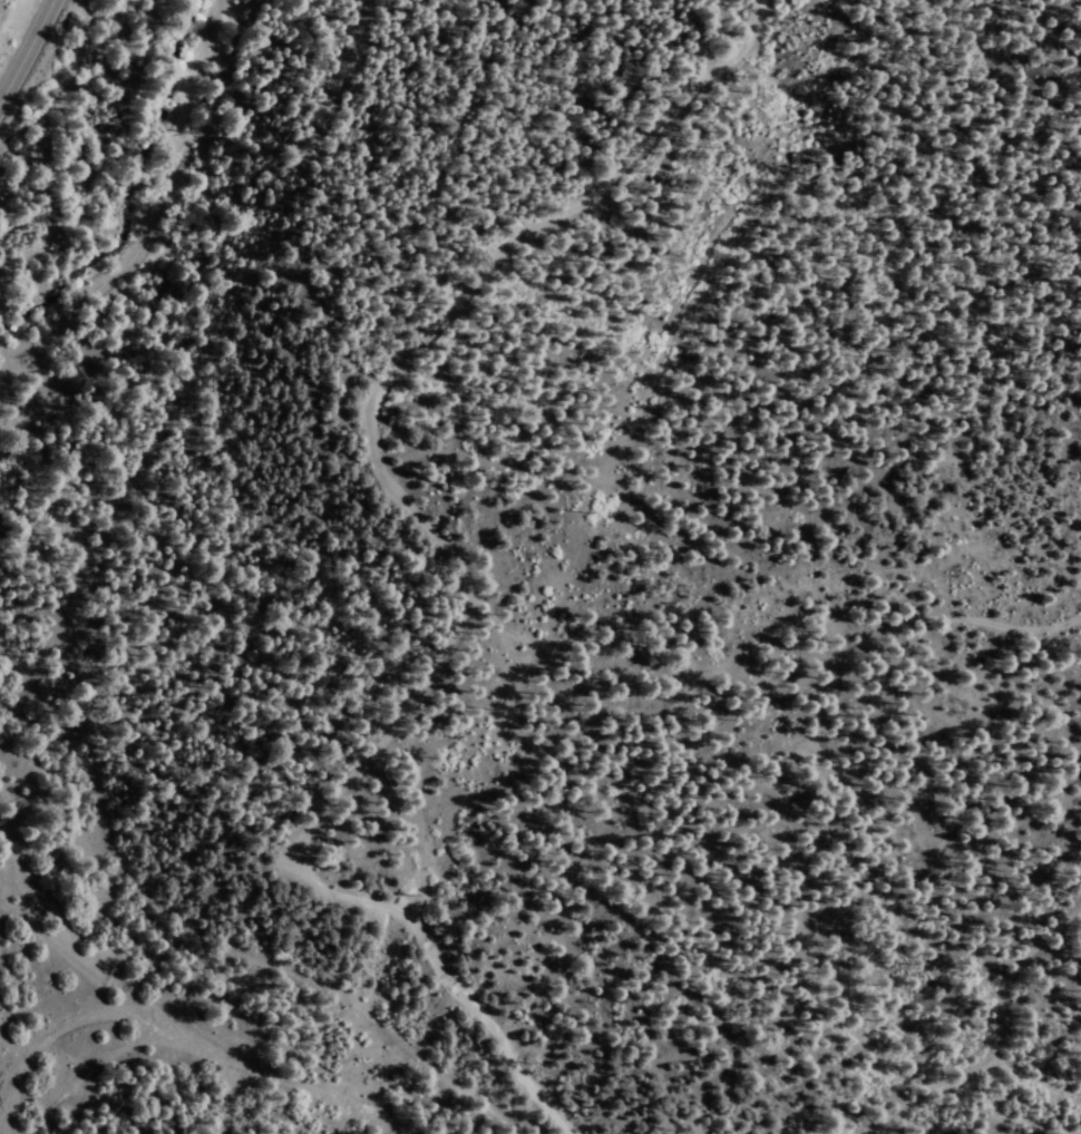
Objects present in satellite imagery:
road: (26, 48)
road: (160, 211)
road: (431, 544)

